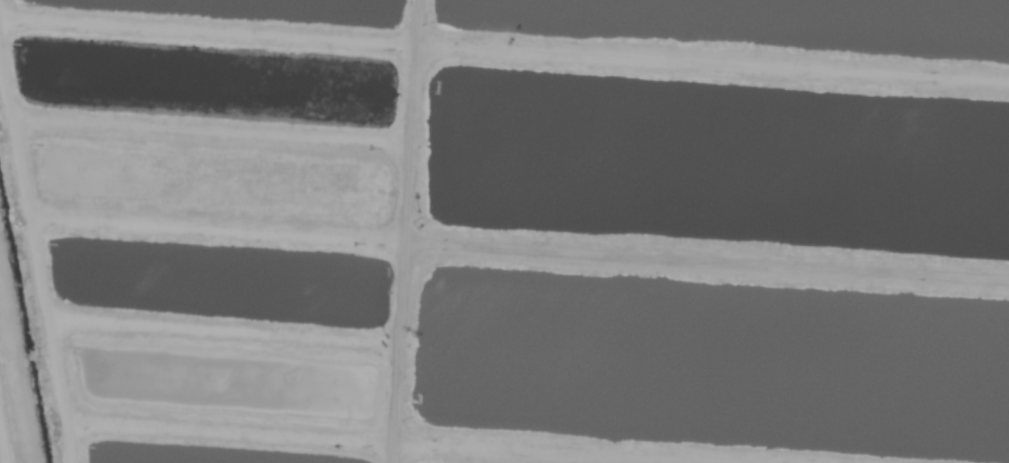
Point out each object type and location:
road: (3, 441)

